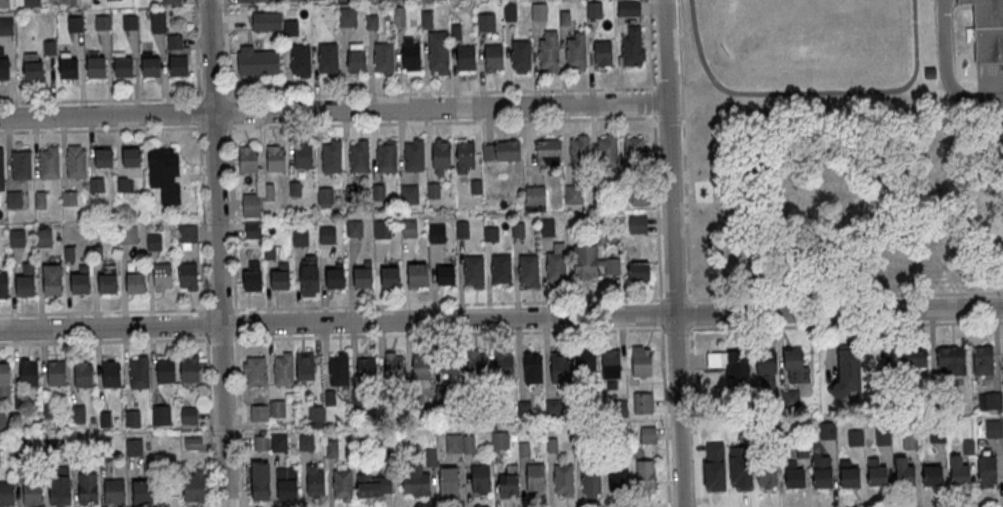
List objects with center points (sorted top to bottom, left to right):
building: (290, 0)
building: (171, 1)
building: (244, 1)
building: (263, 1)
building: (4, 3)
building: (32, 3)
building: (629, 8)
building: (595, 9)
building: (539, 11)
building: (511, 12)
building: (399, 16)
building: (348, 17)
building: (565, 18)
building: (427, 19)
building: (159, 21)
building: (267, 21)
building: (103, 22)
building: (130, 22)
building: (372, 22)
building: (487, 22)
building: (75, 24)
building: (6, 26)
building: (291, 27)
building: (986, 30)
building: (456, 32)
road: (652, 45)
building: (50, 47)
building: (633, 47)
building: (550, 50)
building: (577, 51)
building: (438, 52)
building: (602, 53)
building: (410, 55)
building: (521, 55)
building: (355, 57)
building: (494, 57)
building: (384, 58)
building: (328, 59)
building: (466, 59)
building: (301, 60)
building: (256, 61)
building: (178, 63)
building: (123, 64)
building: (151, 64)
building: (4, 65)
building: (96, 65)
building: (69, 66)
building: (33, 67)
road: (947, 71)
building: (930, 74)
road: (975, 74)
road: (810, 92)
road: (446, 94)
road: (113, 99)
road: (654, 104)
road: (332, 111)
road: (667, 118)
road: (681, 118)
road: (441, 122)
road: (112, 128)
building: (549, 148)
road: (684, 150)
building: (508, 151)
building: (608, 151)
building: (636, 151)
building: (580, 152)
building: (303, 154)
road: (199, 155)
road: (230, 155)
building: (414, 155)
building: (359, 156)
building: (442, 156)
building: (465, 156)
building: (132, 157)
building: (331, 157)
building: (387, 157)
building: (105, 158)
building: (157, 158)
building: (248, 159)
building: (275, 159)
building: (77, 162)
building: (50, 163)
building: (21, 164)
building: (2, 170)
building: (96, 185)
building: (476, 187)
building: (295, 189)
building: (599, 189)
building: (433, 190)
building: (268, 191)
building: (378, 192)
building: (409, 194)
building: (574, 194)
building: (535, 195)
building: (325, 196)
park: (846, 197)
building: (69, 198)
building: (14, 200)
building: (41, 200)
building: (251, 205)
road: (657, 209)
building: (638, 224)
building: (409, 228)
building: (547, 228)
building: (253, 229)
building: (355, 229)
building: (463, 229)
building: (382, 230)
building: (519, 230)
building: (187, 233)
building: (437, 233)
building: (492, 234)
building: (128, 235)
building: (327, 235)
building: (43, 237)
building: (17, 238)
building: (300, 238)
building: (154, 242)
building: (97, 253)
road: (216, 253)
road: (672, 253)
building: (69, 254)
building: (588, 261)
building: (557, 267)
building: (502, 268)
building: (528, 269)
building: (474, 271)
building: (640, 271)
building: (363, 274)
building: (163, 275)
building: (252, 275)
building: (309, 275)
building: (418, 275)
building: (446, 275)
building: (188, 276)
building: (390, 276)
building: (281, 277)
building: (336, 277)
building: (27, 280)
building: (53, 280)
building: (81, 280)
building: (109, 280)
building: (137, 280)
building: (3, 286)
road: (845, 296)
road: (675, 300)
road: (448, 305)
road: (221, 310)
road: (103, 312)
road: (661, 313)
road: (690, 313)
road: (501, 318)
road: (206, 323)
road: (236, 323)
road: (846, 326)
road: (677, 328)
road: (449, 333)
road: (220, 338)
road: (104, 340)
building: (913, 356)
building: (950, 359)
building: (983, 359)
building: (586, 360)
building: (475, 361)
building: (641, 361)
building: (448, 363)
building: (729, 363)
building: (393, 364)
building: (503, 364)
building: (610, 364)
building: (796, 365)
building: (304, 367)
building: (366, 367)
building: (421, 367)
building: (532, 367)
building: (559, 367)
building: (189, 369)
building: (766, 369)
building: (165, 370)
building: (283, 370)
building: (337, 370)
building: (847, 370)
building: (254, 371)
building: (140, 372)
building: (28, 373)
building: (55, 373)
building: (111, 374)
building: (83, 375)
building: (4, 378)
building: (790, 398)
building: (989, 400)
building: (642, 402)
building: (523, 408)
building: (76, 413)
building: (161, 415)
road: (694, 415)
building: (188, 416)
building: (315, 416)
road: (665, 416)
building: (132, 417)
building: (2, 420)
road: (209, 421)
road: (238, 421)
building: (993, 428)
building: (648, 434)
building: (499, 439)
building: (305, 443)
building: (468, 443)
building: (133, 446)
building: (331, 449)
building: (987, 470)
building: (959, 471)
building: (904, 472)
building: (645, 475)
building: (877, 475)
building: (933, 475)
building: (618, 476)
building: (768, 476)
building: (535, 477)
building: (823, 477)
building: (850, 477)
building: (796, 478)
building: (415, 479)
building: (480, 479)
building: (562, 480)
building: (260, 481)
building: (315, 481)
building: (448, 482)
building: (590, 482)
building: (286, 484)
building: (342, 484)
building: (373, 484)
building: (508, 485)
building: (87, 488)
building: (193, 488)
building: (115, 492)
building: (7, 493)
building: (32, 493)
building: (62, 493)
building: (142, 493)
road: (952, 506)

